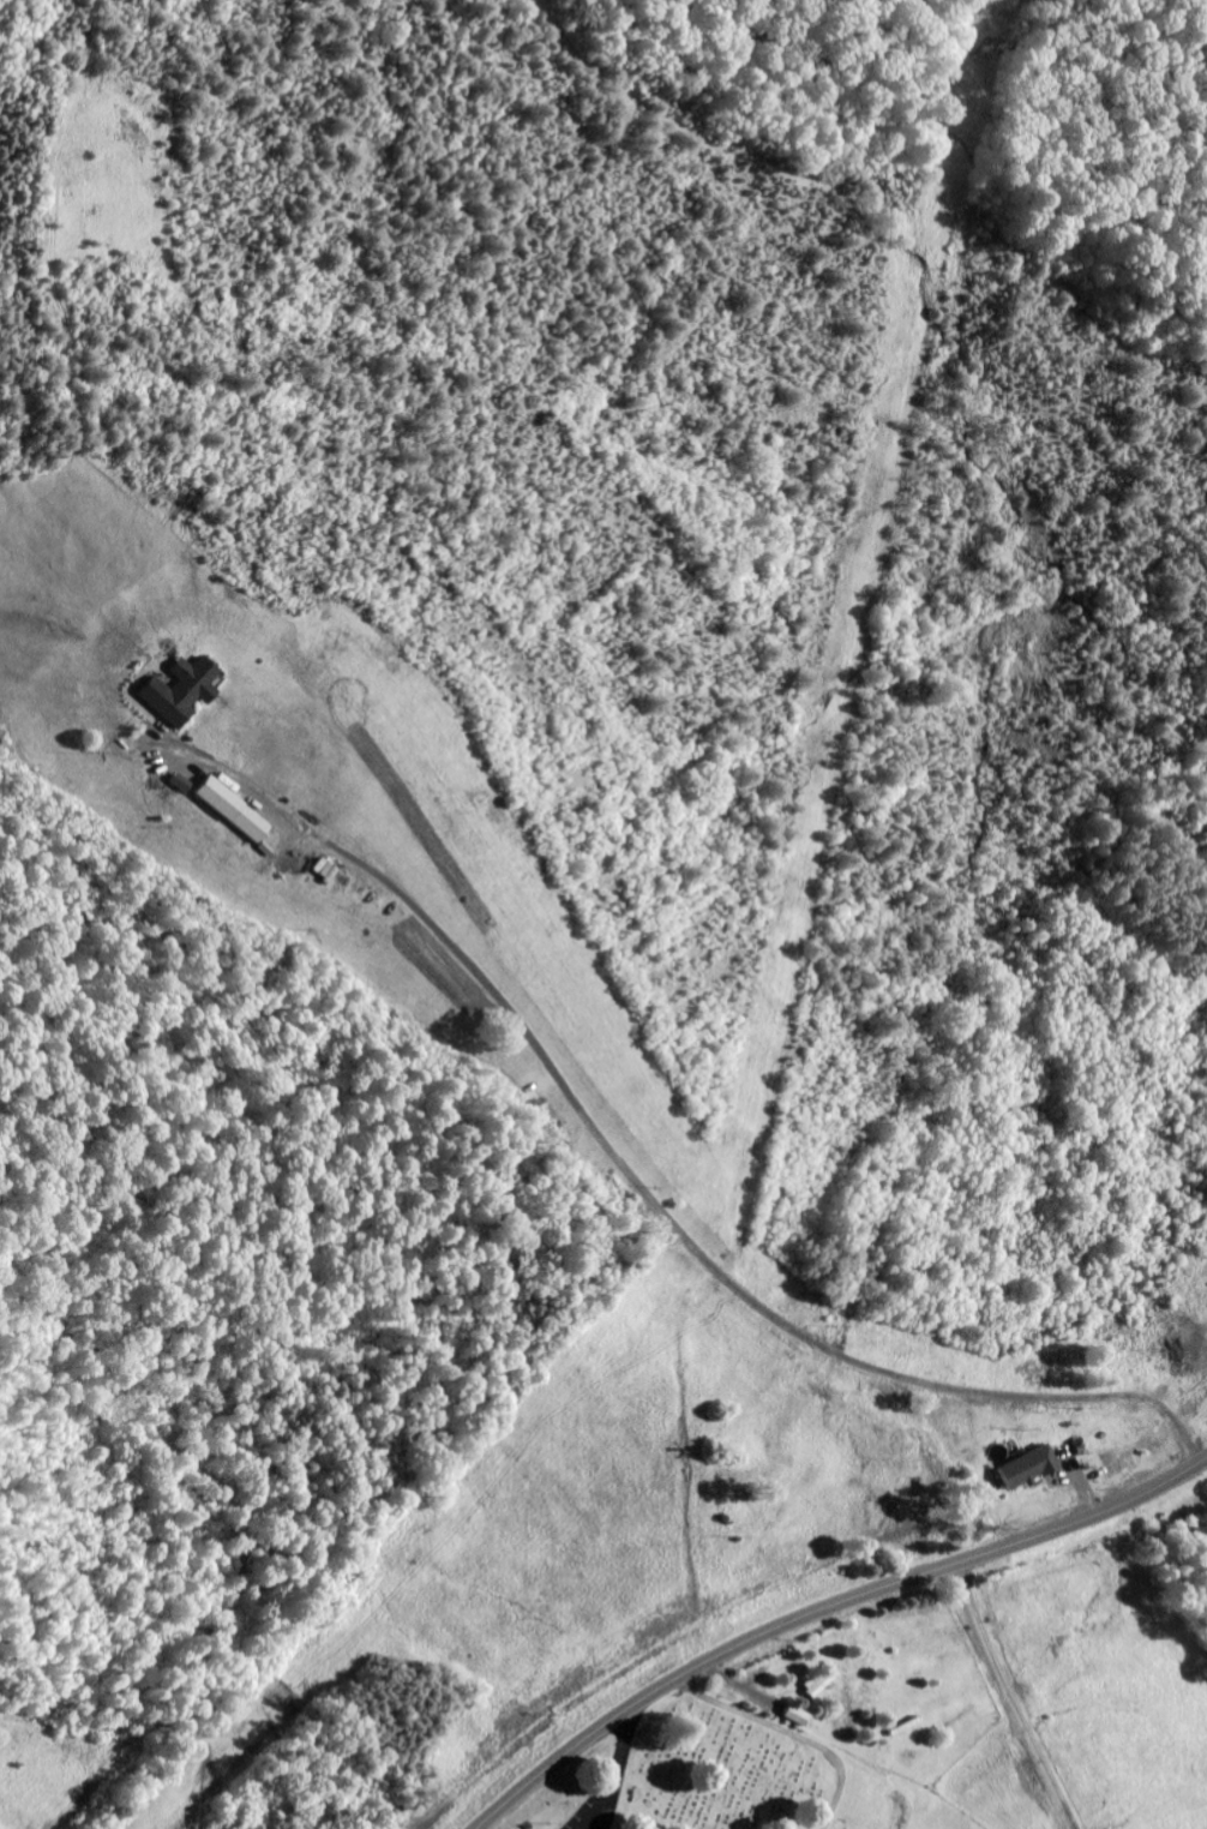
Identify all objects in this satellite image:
building: (184, 692)
building: (236, 811)
road: (645, 1195)
building: (1031, 1468)
road: (825, 1609)
building: (817, 1685)
building: (798, 1716)
road: (593, 1747)

